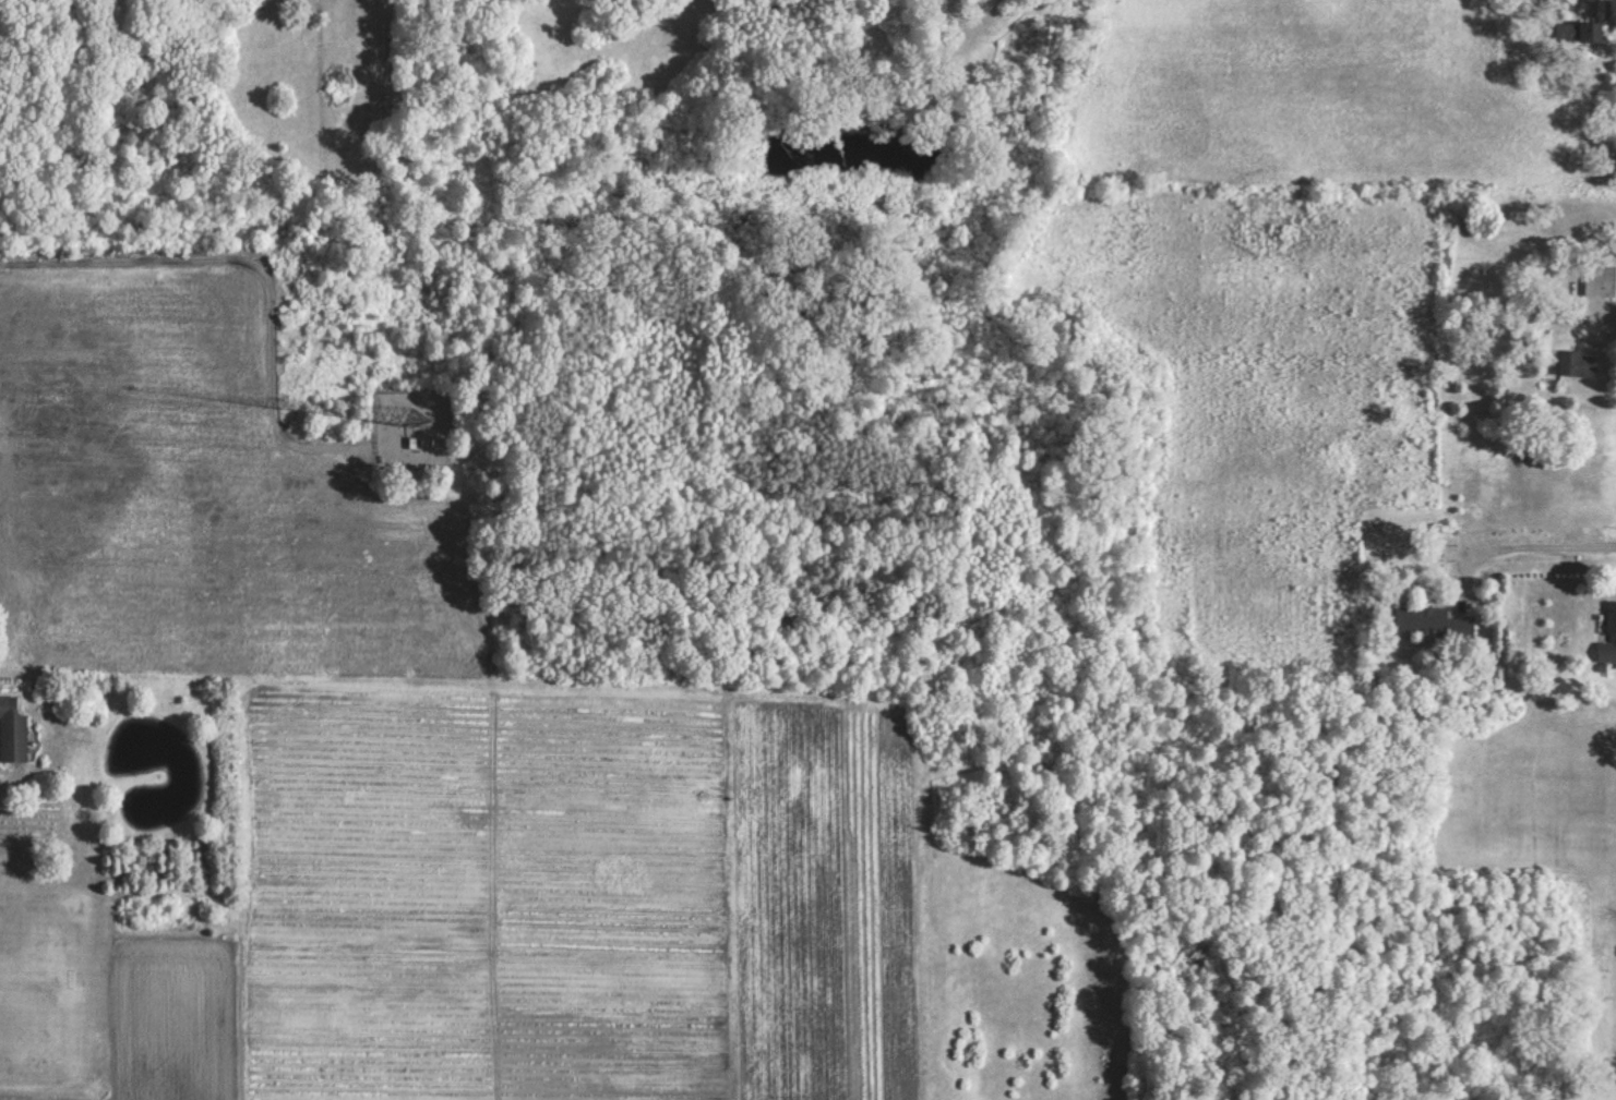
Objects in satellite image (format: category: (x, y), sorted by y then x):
building: (1590, 32)
building: (1601, 280)
building: (1578, 363)
road: (1522, 545)
building: (1431, 619)
building: (1609, 637)
building: (12, 729)

